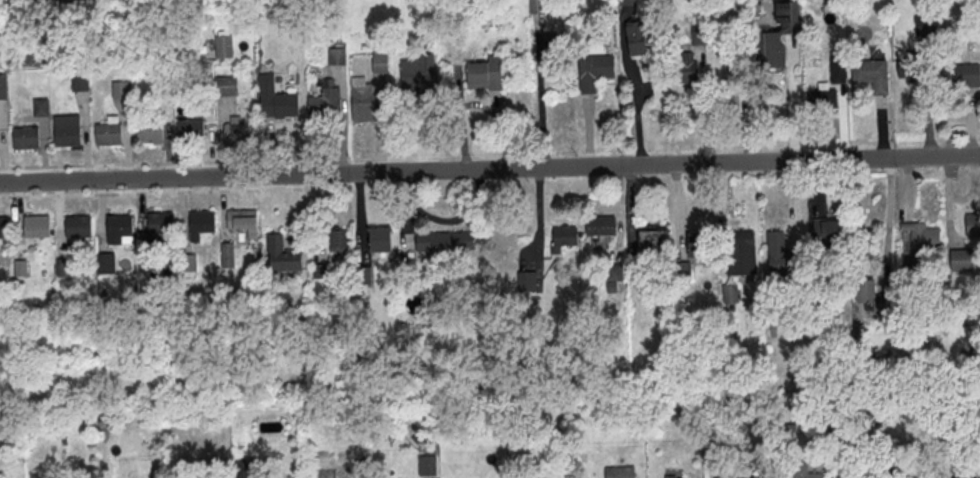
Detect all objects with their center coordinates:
building: (629, 3)
building: (538, 7)
building: (924, 26)
building: (636, 39)
building: (698, 39)
building: (775, 39)
building: (552, 48)
building: (224, 50)
building: (337, 58)
building: (380, 65)
building: (910, 67)
building: (686, 71)
building: (838, 71)
building: (595, 73)
building: (418, 74)
building: (871, 74)
building: (486, 75)
building: (961, 77)
building: (81, 84)
building: (3, 88)
building: (226, 88)
road: (541, 90)
building: (120, 91)
building: (276, 101)
building: (823, 101)
building: (365, 103)
building: (325, 104)
road: (704, 104)
road: (637, 108)
building: (41, 109)
road: (843, 122)
road: (971, 122)
building: (68, 133)
building: (193, 133)
building: (150, 134)
building: (239, 135)
building: (109, 136)
building: (26, 137)
road: (490, 169)
road: (820, 190)
road: (129, 194)
road: (794, 204)
road: (679, 214)
road: (888, 217)
building: (241, 222)
road: (539, 222)
building: (203, 224)
building: (600, 224)
building: (162, 227)
building: (973, 227)
building: (121, 228)
building: (5, 229)
building: (37, 229)
building: (79, 229)
building: (833, 234)
building: (923, 239)
building: (564, 241)
building: (337, 242)
building: (381, 243)
building: (444, 244)
building: (653, 244)
building: (699, 248)
building: (227, 254)
building: (740, 254)
building: (284, 257)
building: (783, 258)
building: (962, 261)
building: (104, 264)
building: (188, 265)
building: (64, 269)
building: (319, 270)
building: (682, 272)
building: (614, 274)
building: (363, 277)
building: (909, 278)
building: (527, 283)
building: (730, 294)
building: (874, 298)
building: (427, 468)
building: (807, 472)
building: (620, 473)
building: (885, 474)
building: (963, 474)
building: (673, 476)

